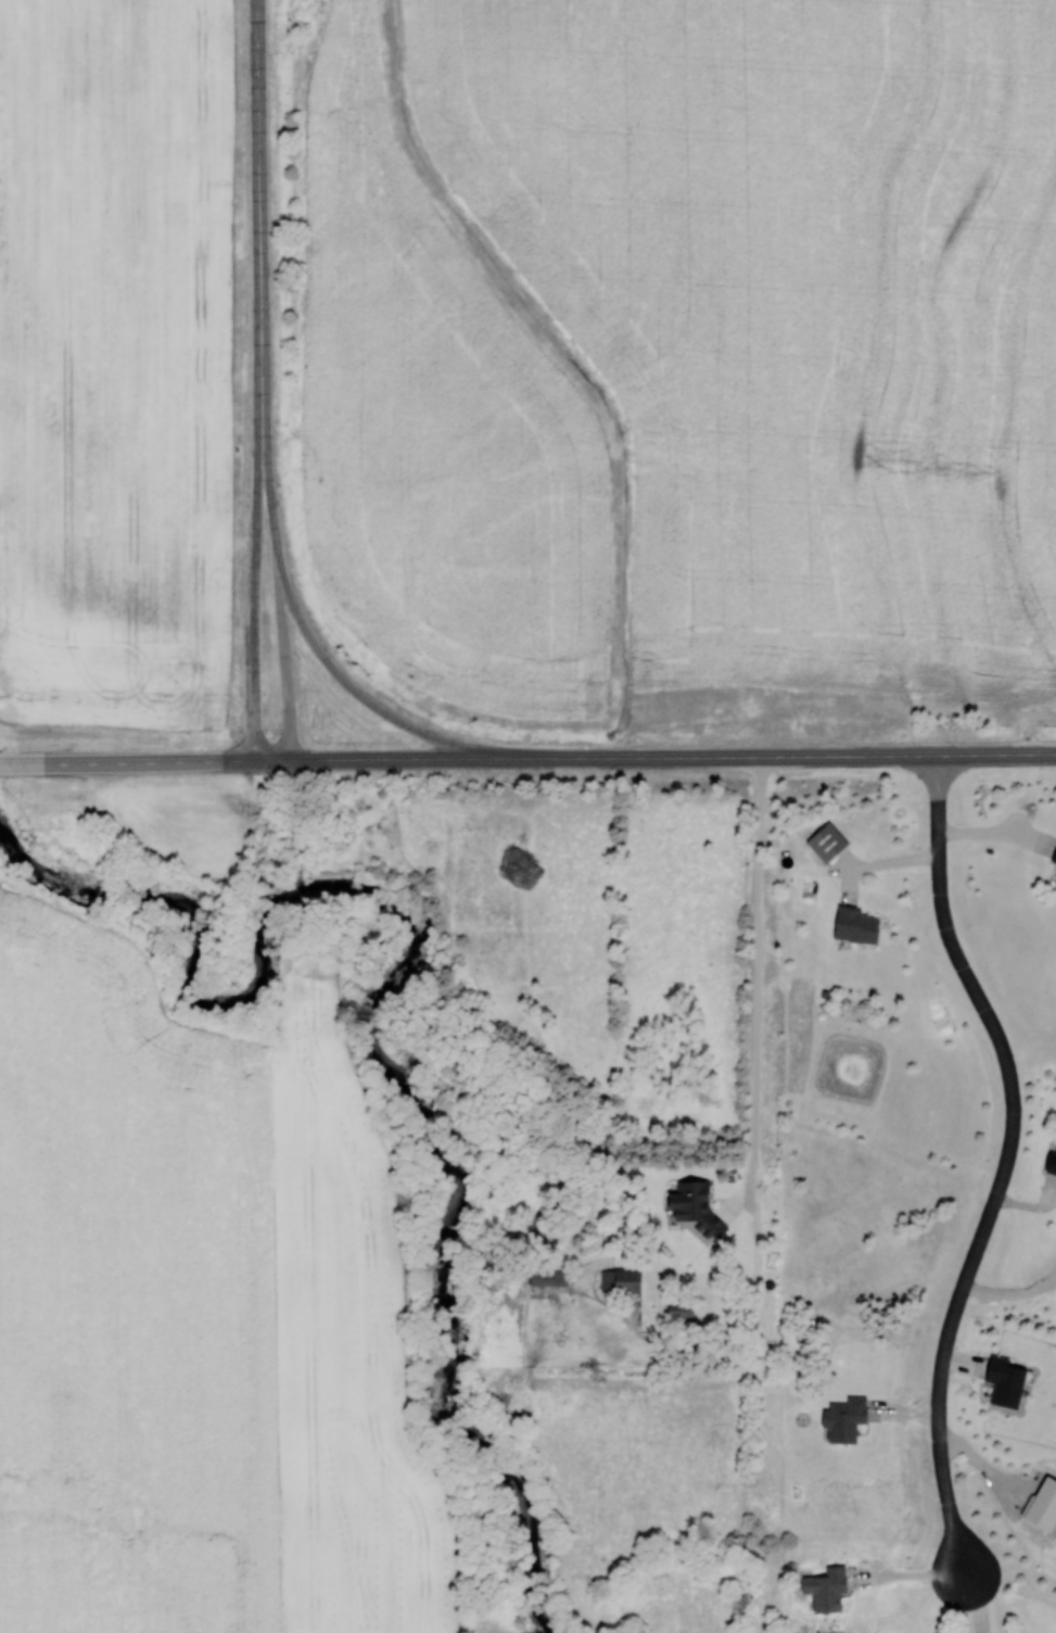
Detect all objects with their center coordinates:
road: (259, 241)
road: (253, 620)
road: (280, 620)
road: (368, 701)
road: (551, 758)
road: (23, 761)
building: (825, 840)
building: (1054, 857)
building: (1055, 882)
building: (854, 924)
building: (1049, 1163)
road: (1007, 1164)
building: (667, 1219)
building: (547, 1278)
building: (619, 1281)
building: (678, 1309)
building: (1003, 1381)
building: (843, 1418)
building: (824, 1588)

